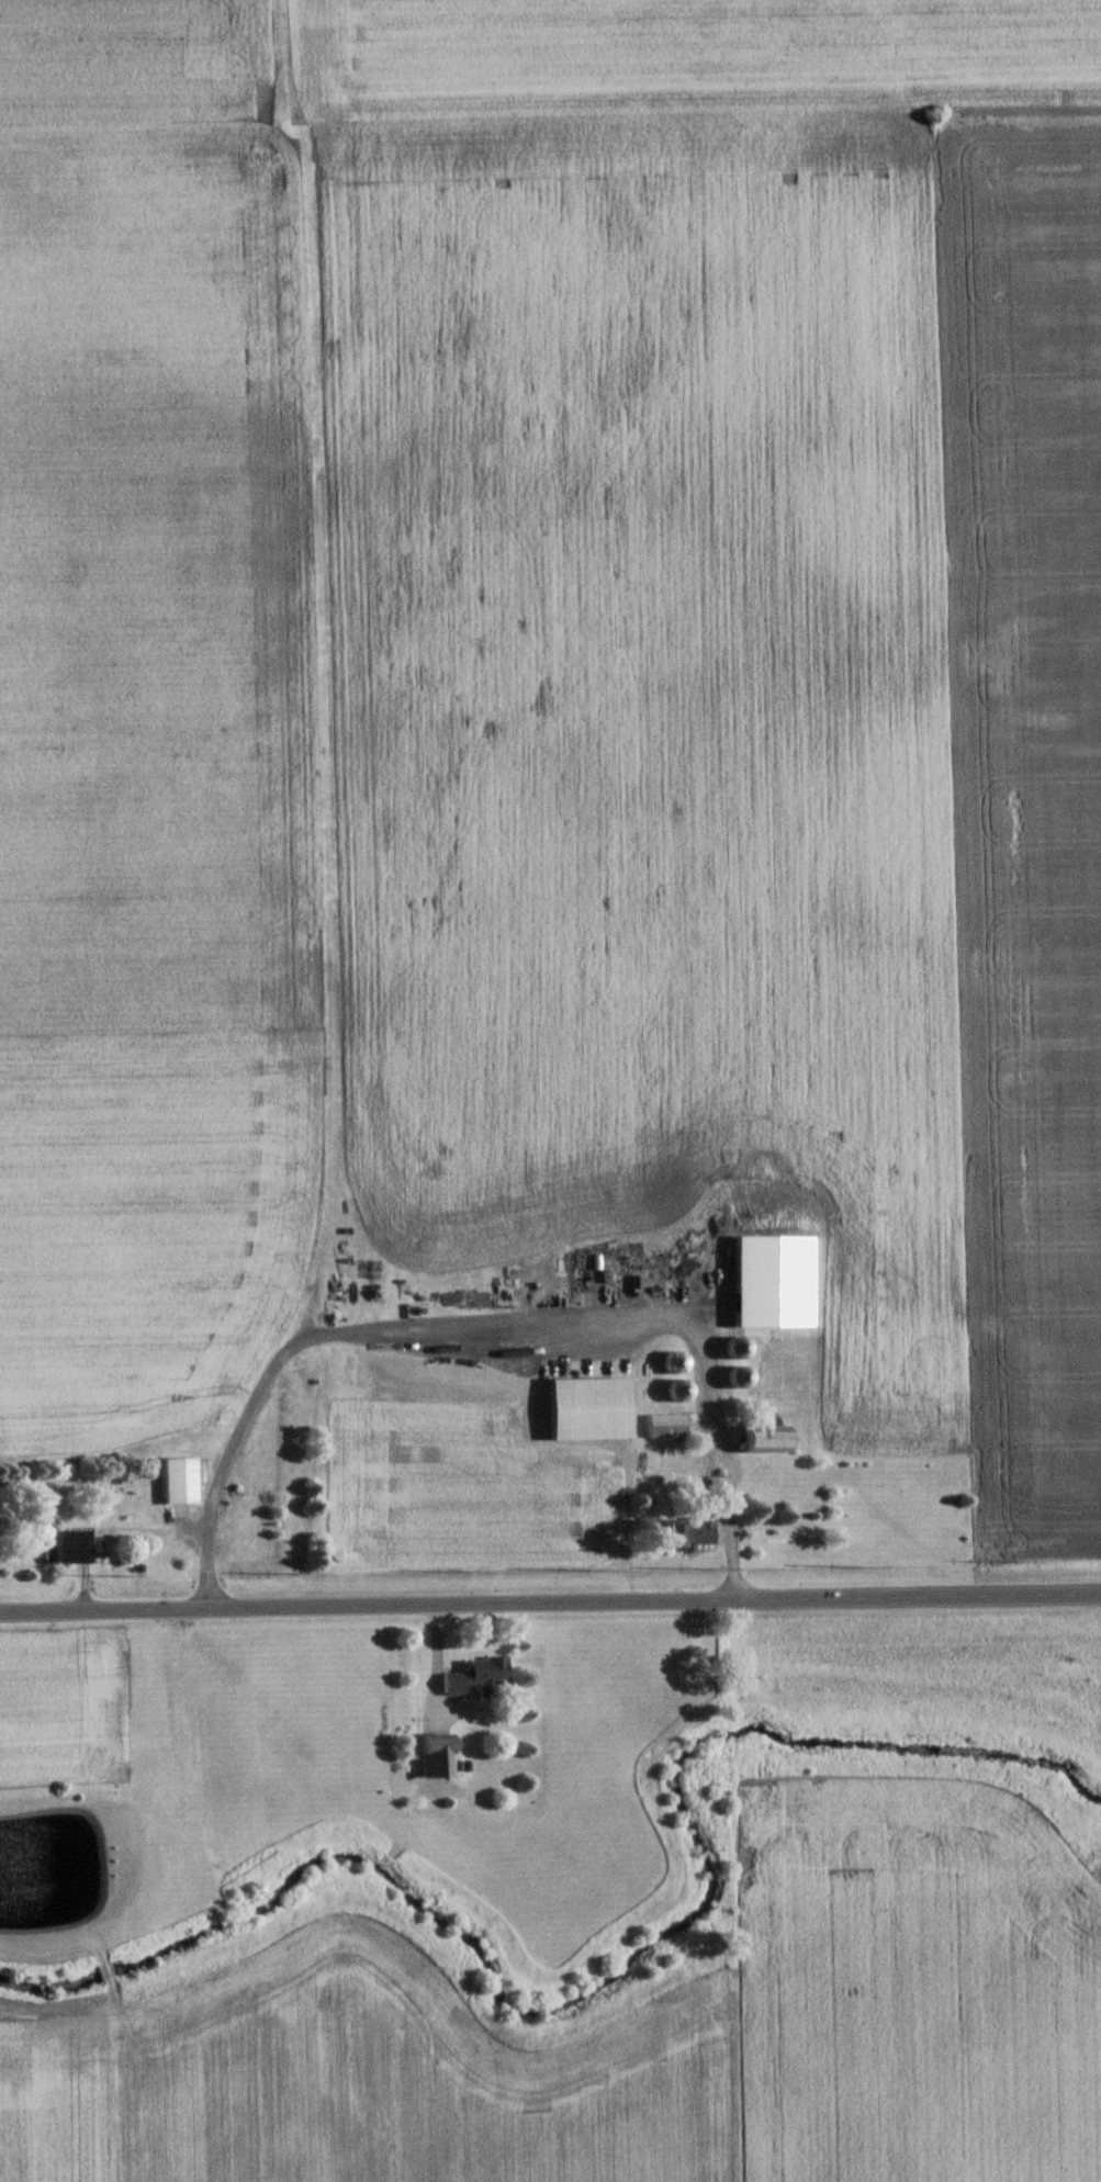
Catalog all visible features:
crop: (717, 664)
crop: (146, 720)
building: (772, 1282)
road: (487, 1320)
building: (586, 1409)
building: (660, 1427)
building: (767, 1440)
building: (176, 1482)
building: (687, 1534)
road: (111, 1543)
building: (68, 1548)
road: (550, 1604)
building: (473, 1677)
building: (434, 1757)
crop: (914, 2001)
crop: (362, 2082)

